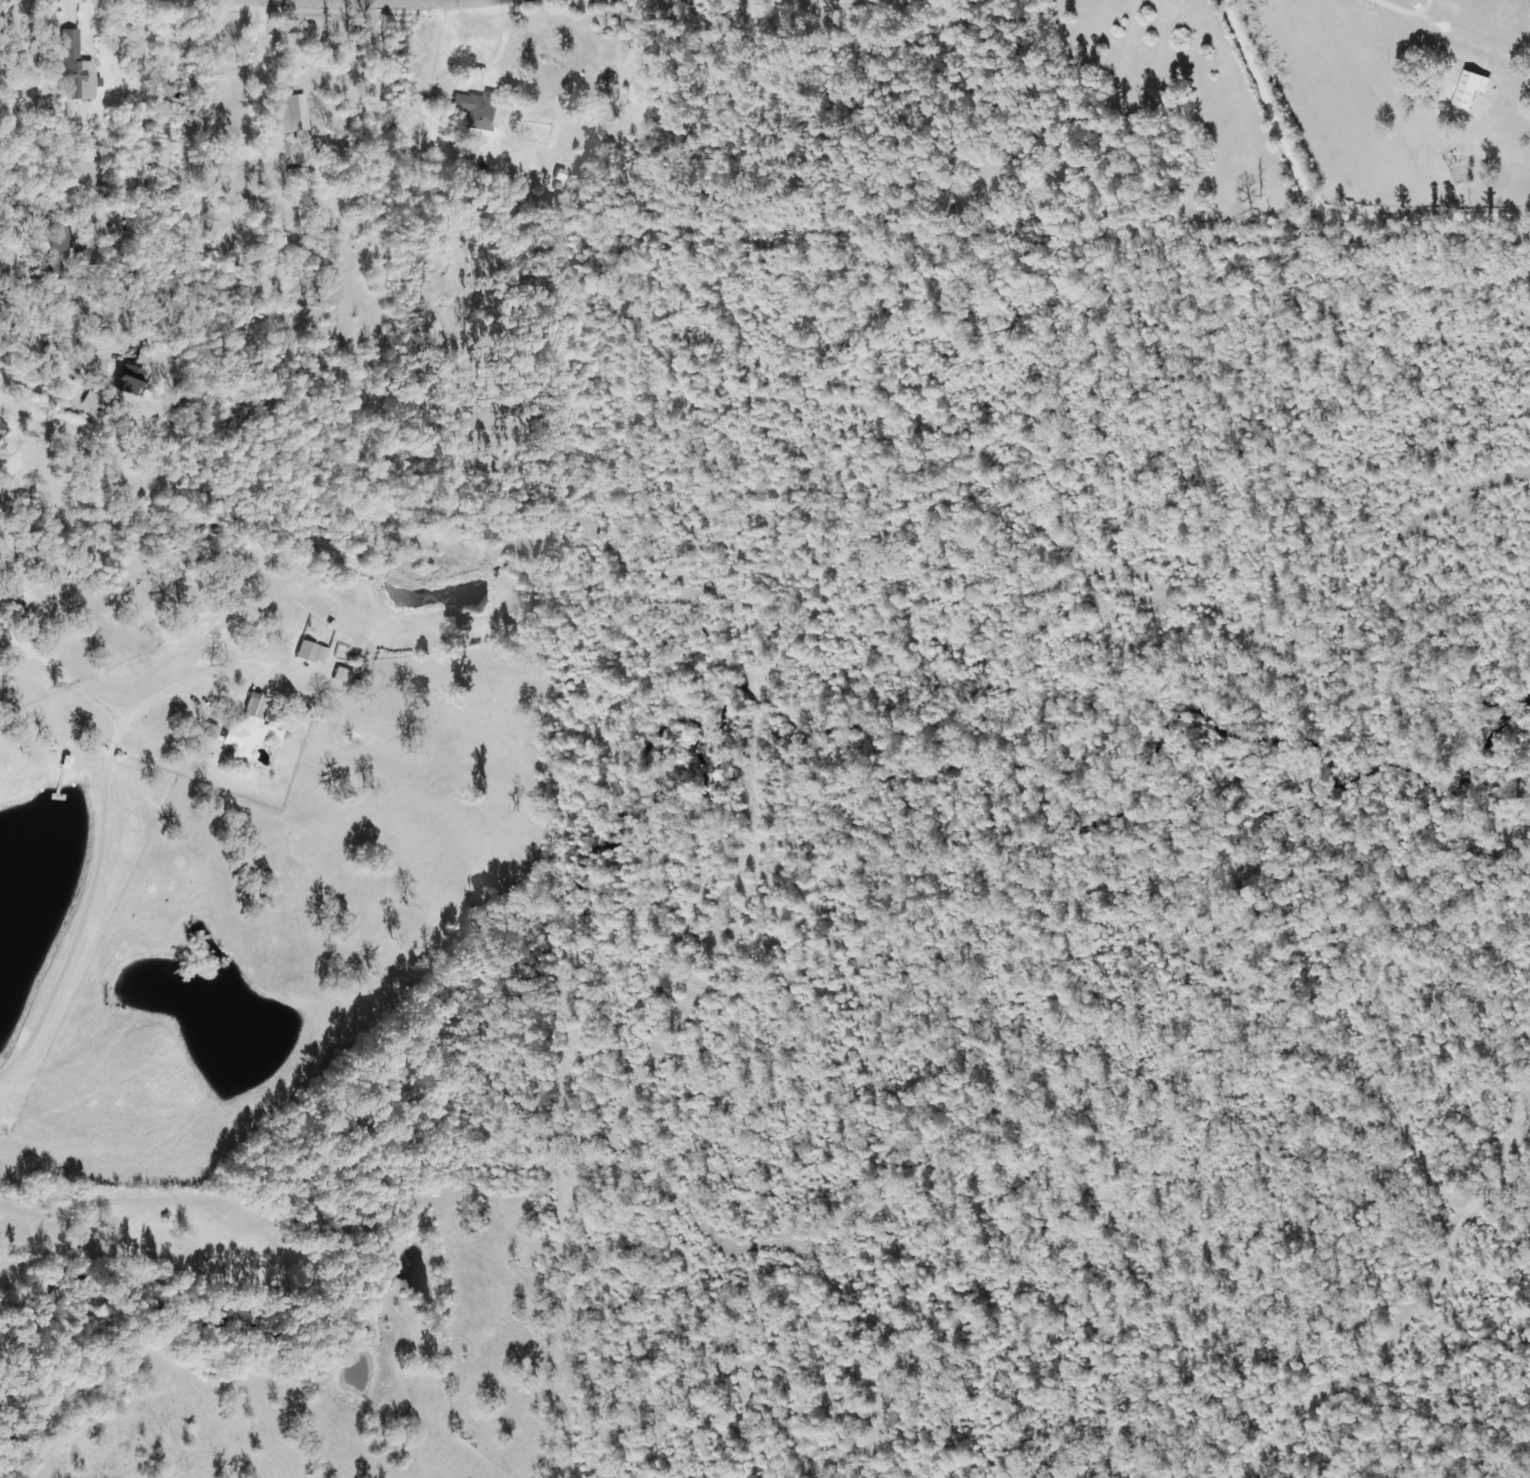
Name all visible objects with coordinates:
road: (374, 5)
building: (72, 64)
building: (477, 111)
building: (288, 115)
building: (1455, 168)
road: (1311, 202)
building: (545, 205)
building: (57, 239)
building: (127, 381)
building: (89, 401)
building: (2, 431)
building: (314, 654)
building: (344, 671)
building: (244, 732)

